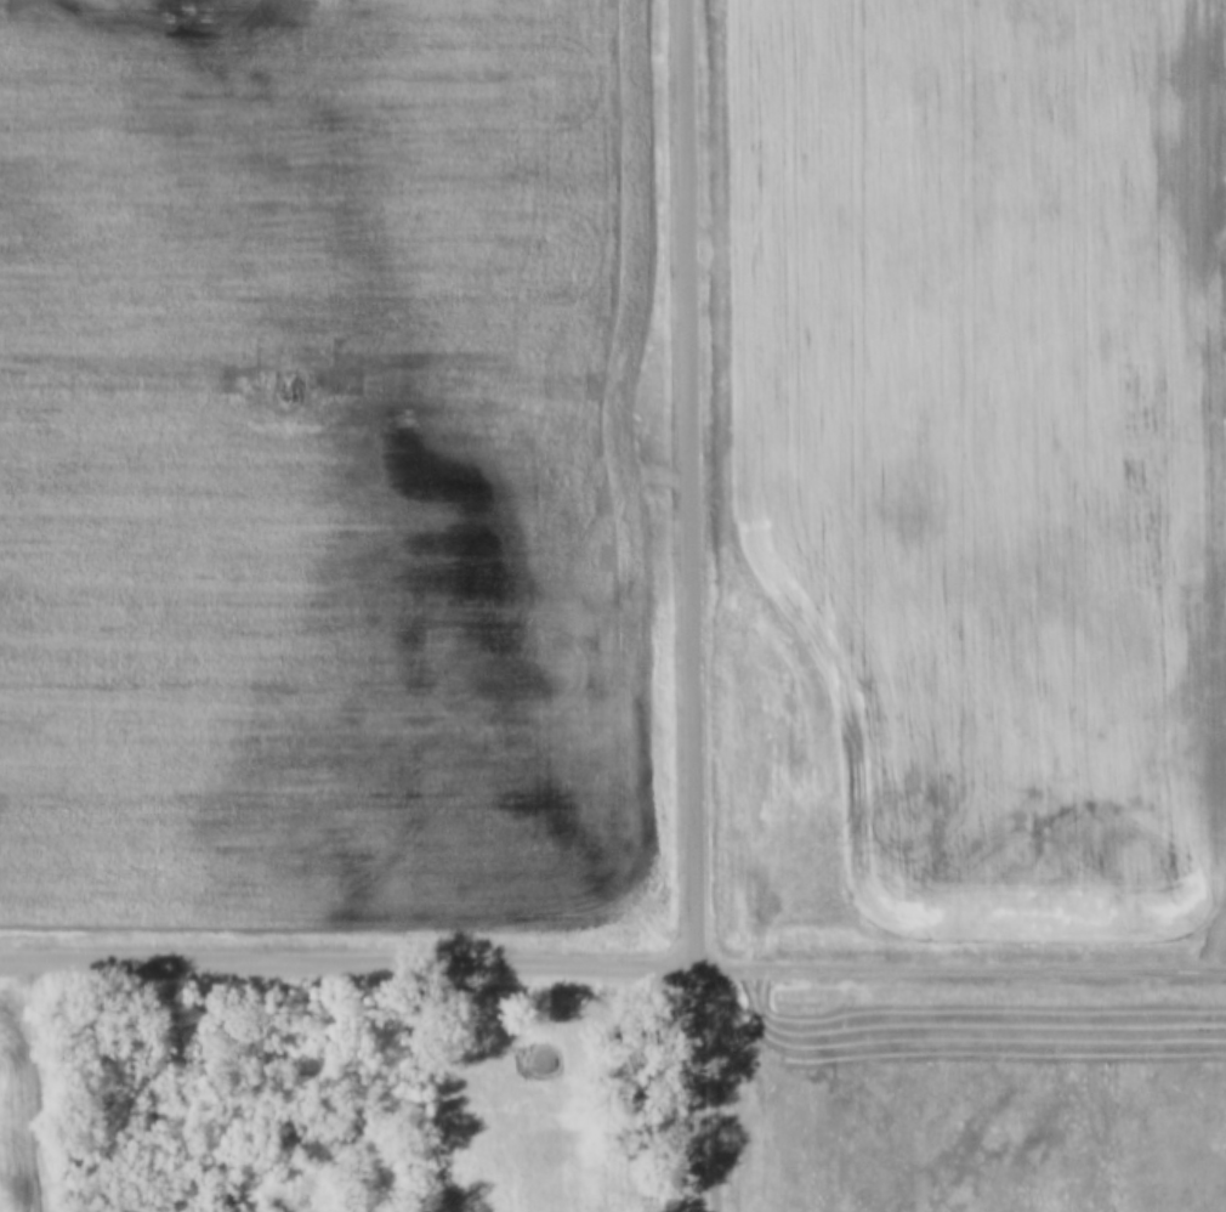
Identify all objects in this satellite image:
road: (688, 606)
road: (346, 951)
road: (959, 959)

